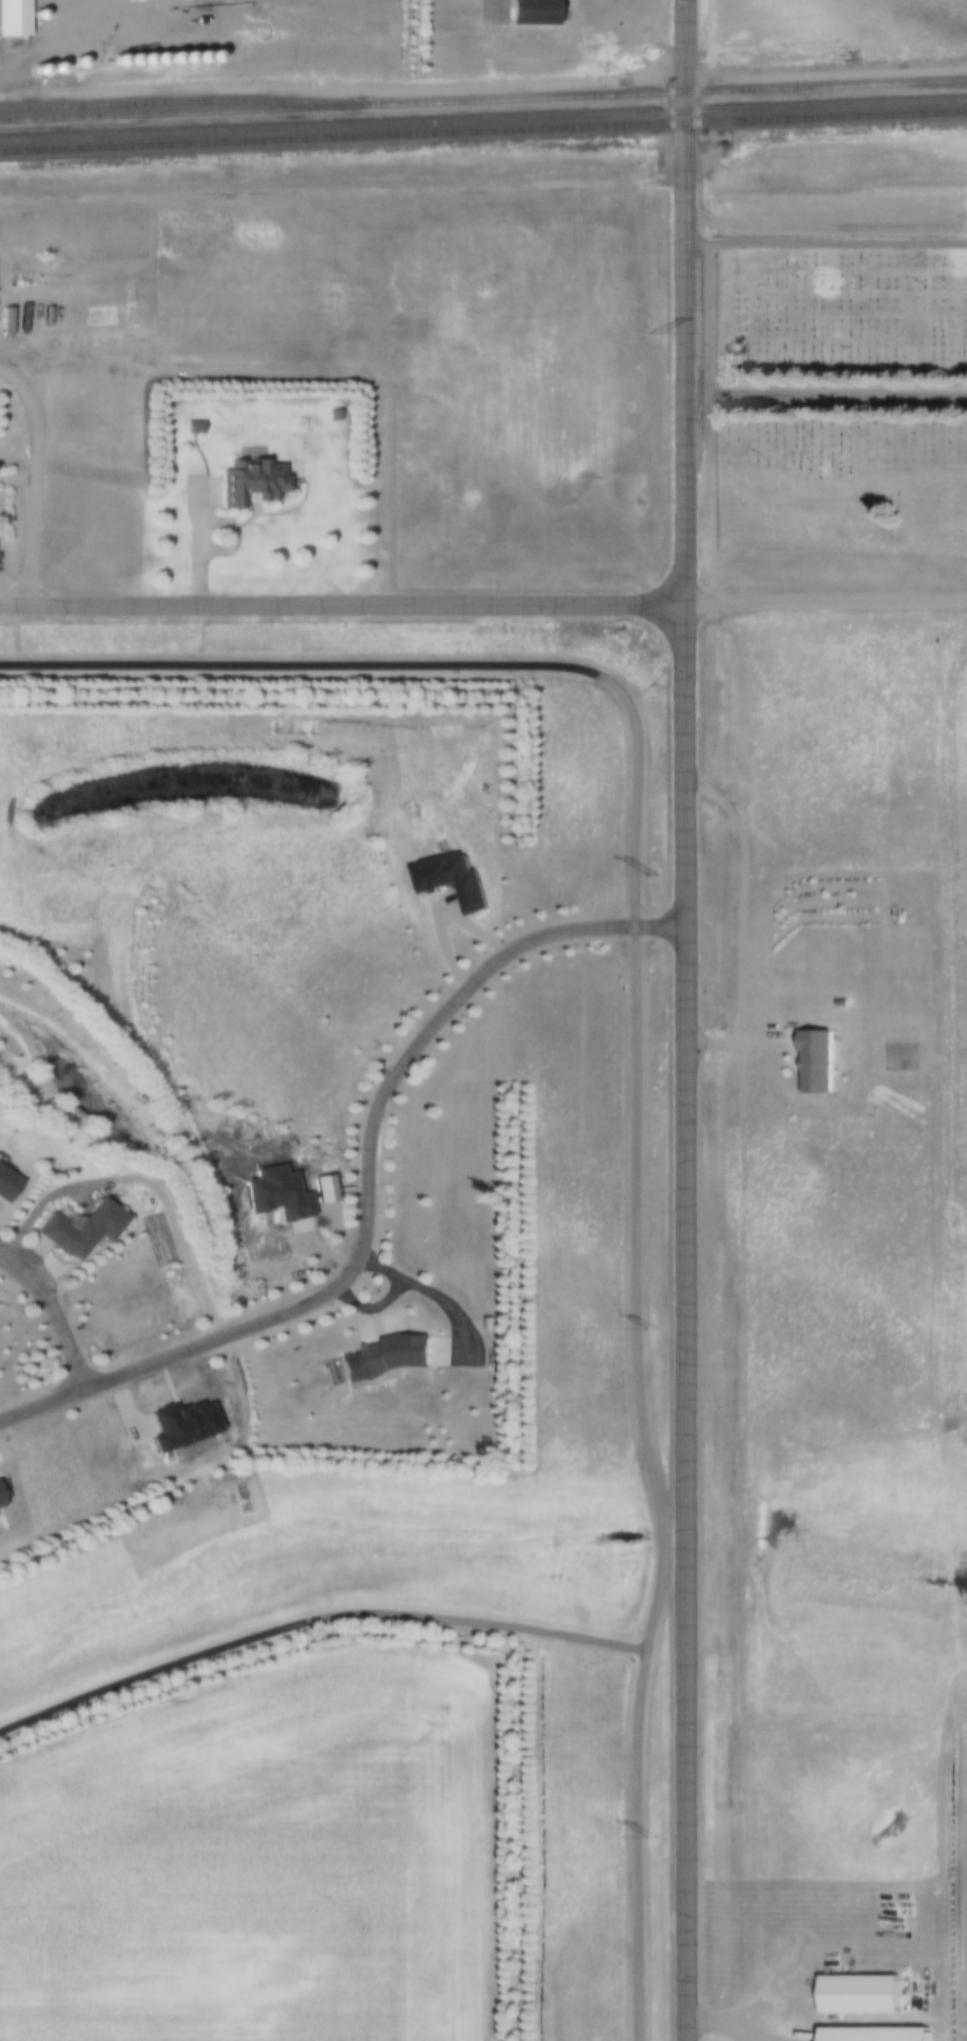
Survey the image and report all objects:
building: (121, 1)
silo: (121, 1)
building: (527, 12)
building: (12, 18)
building: (180, 57)
silo: (180, 57)
building: (194, 57)
silo: (194, 57)
building: (207, 57)
silo: (207, 57)
building: (167, 58)
silo: (167, 58)
building: (129, 59)
silo: (129, 59)
building: (142, 59)
silo: (142, 59)
building: (155, 59)
silo: (155, 59)
building: (116, 60)
silo: (116, 60)
building: (78, 62)
silo: (78, 62)
building: (51, 68)
silo: (51, 68)
railway: (483, 99)
railway: (179, 100)
railway: (483, 119)
railway: (483, 132)
road: (341, 194)
road: (682, 197)
road: (825, 241)
building: (127, 299)
building: (99, 316)
building: (115, 340)
road: (824, 393)
park: (840, 394)
building: (191, 427)
road: (33, 479)
building: (246, 482)
road: (229, 538)
road: (200, 543)
road: (824, 601)
road: (340, 605)
building: (451, 881)
road: (748, 892)
road: (734, 1041)
road: (634, 1054)
building: (811, 1060)
building: (6, 1185)
road: (367, 1189)
road: (37, 1203)
road: (683, 1218)
building: (79, 1229)
road: (174, 1232)
road: (53, 1314)
building: (381, 1357)
building: (178, 1424)
road: (312, 1618)
building: (850, 1984)
building: (865, 2028)

